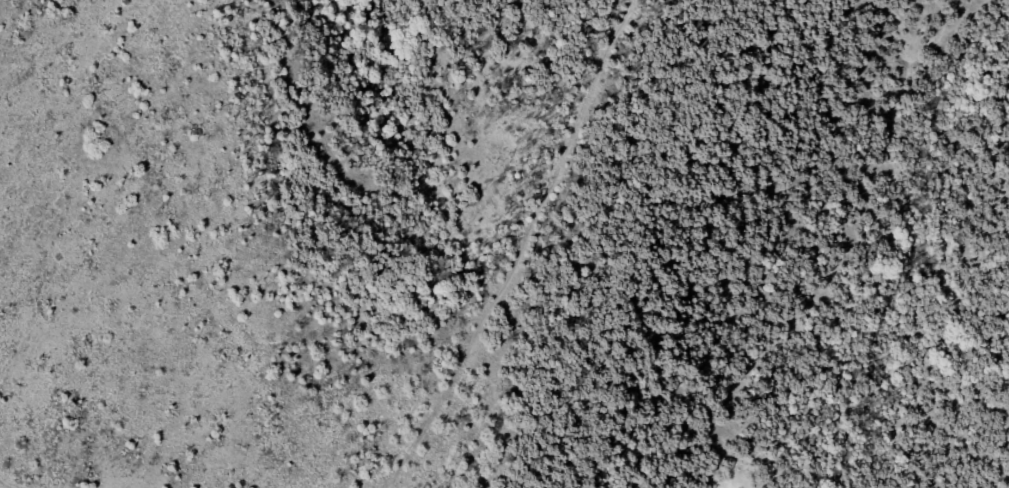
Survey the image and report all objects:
park: (504, 244)

